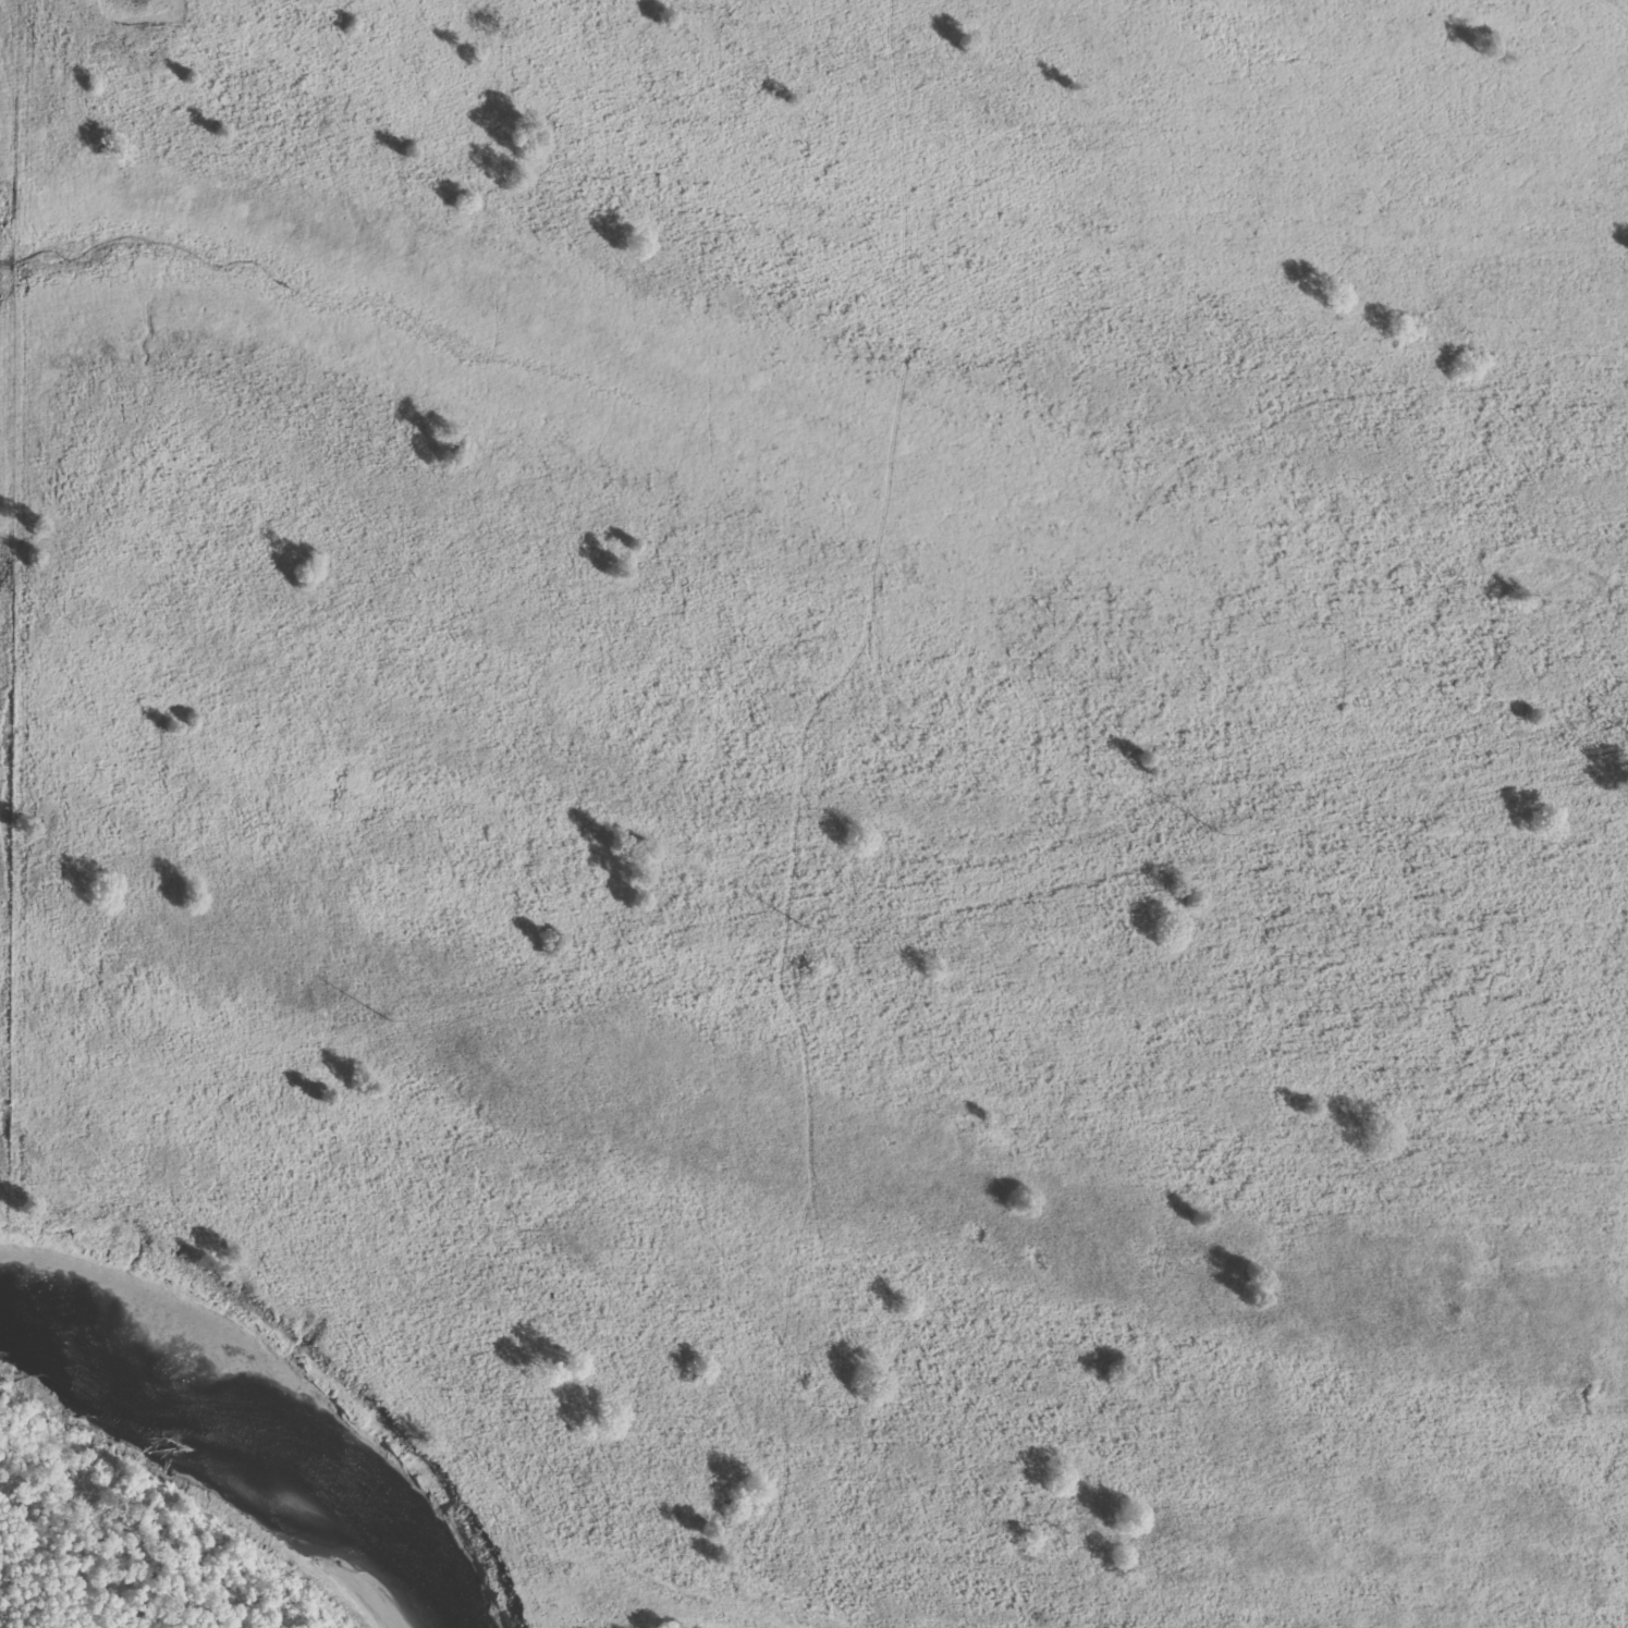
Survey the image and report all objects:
river: (218, 1421)

